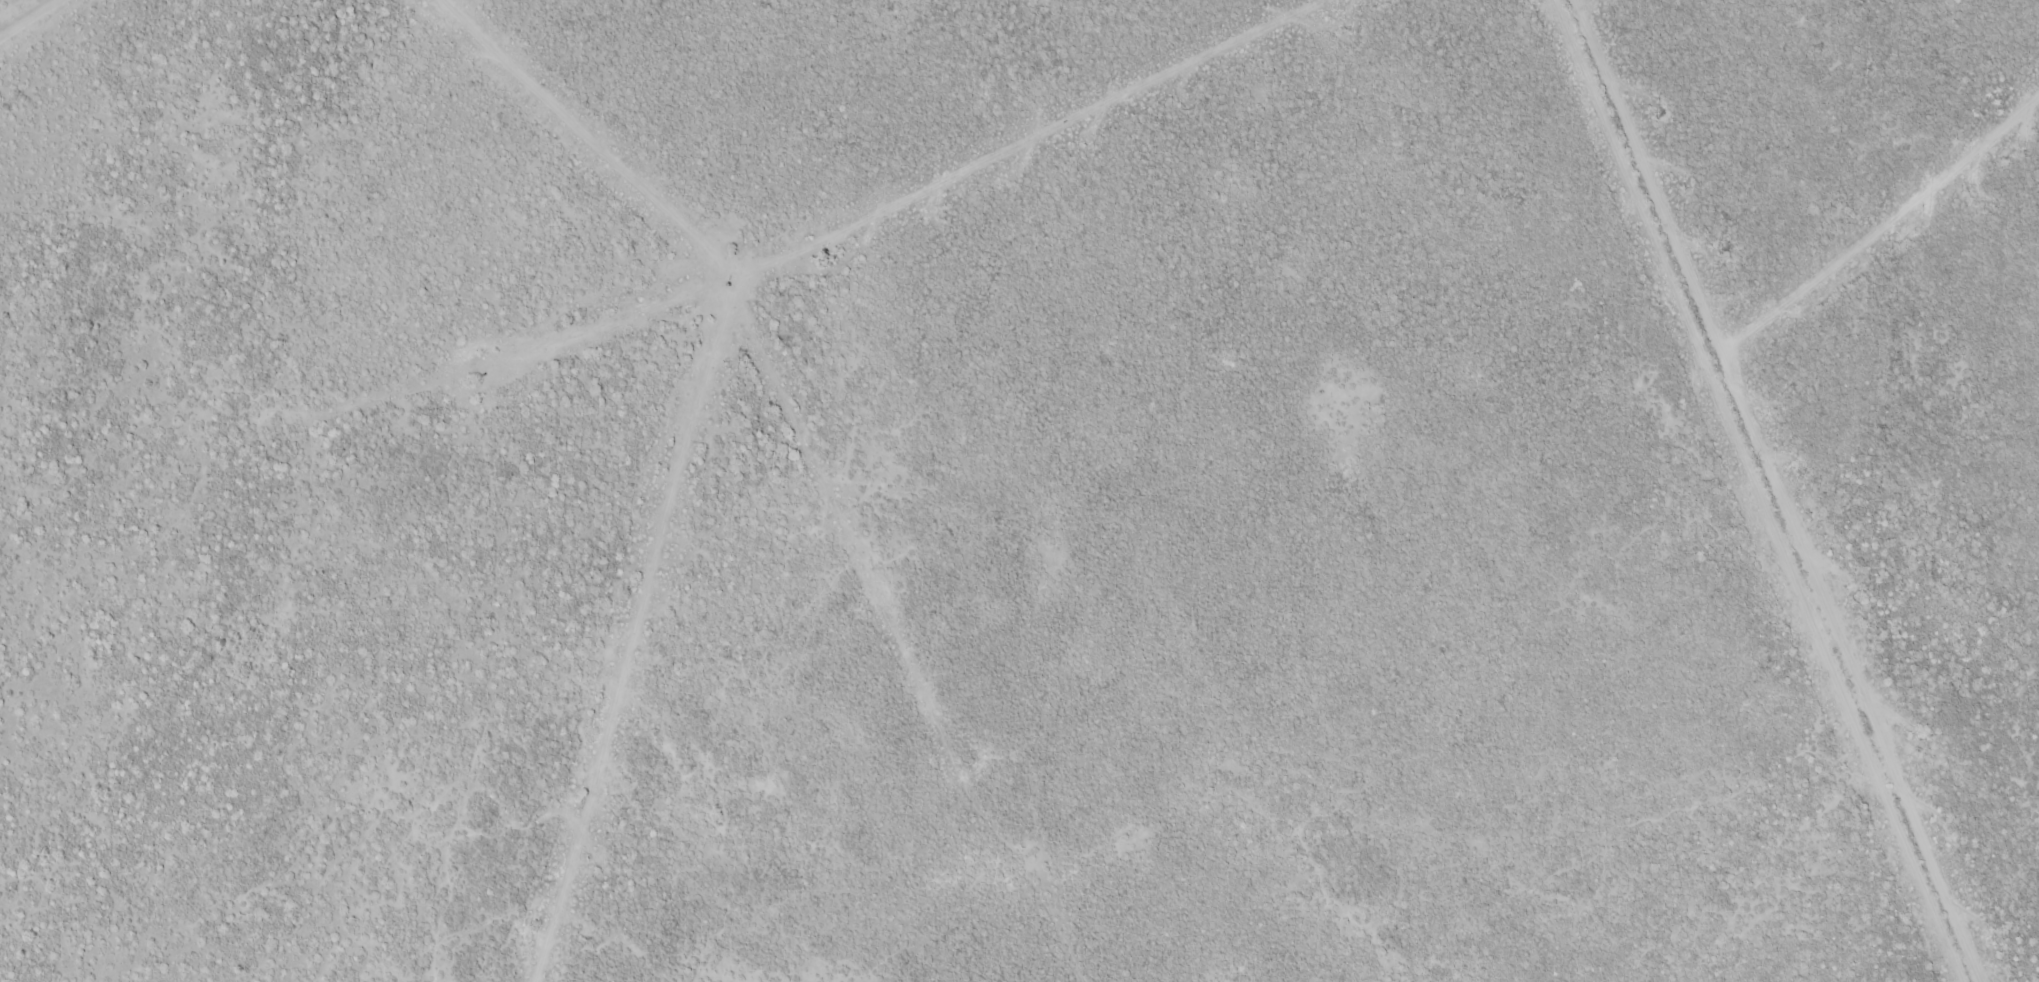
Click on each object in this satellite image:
road: (688, 440)

